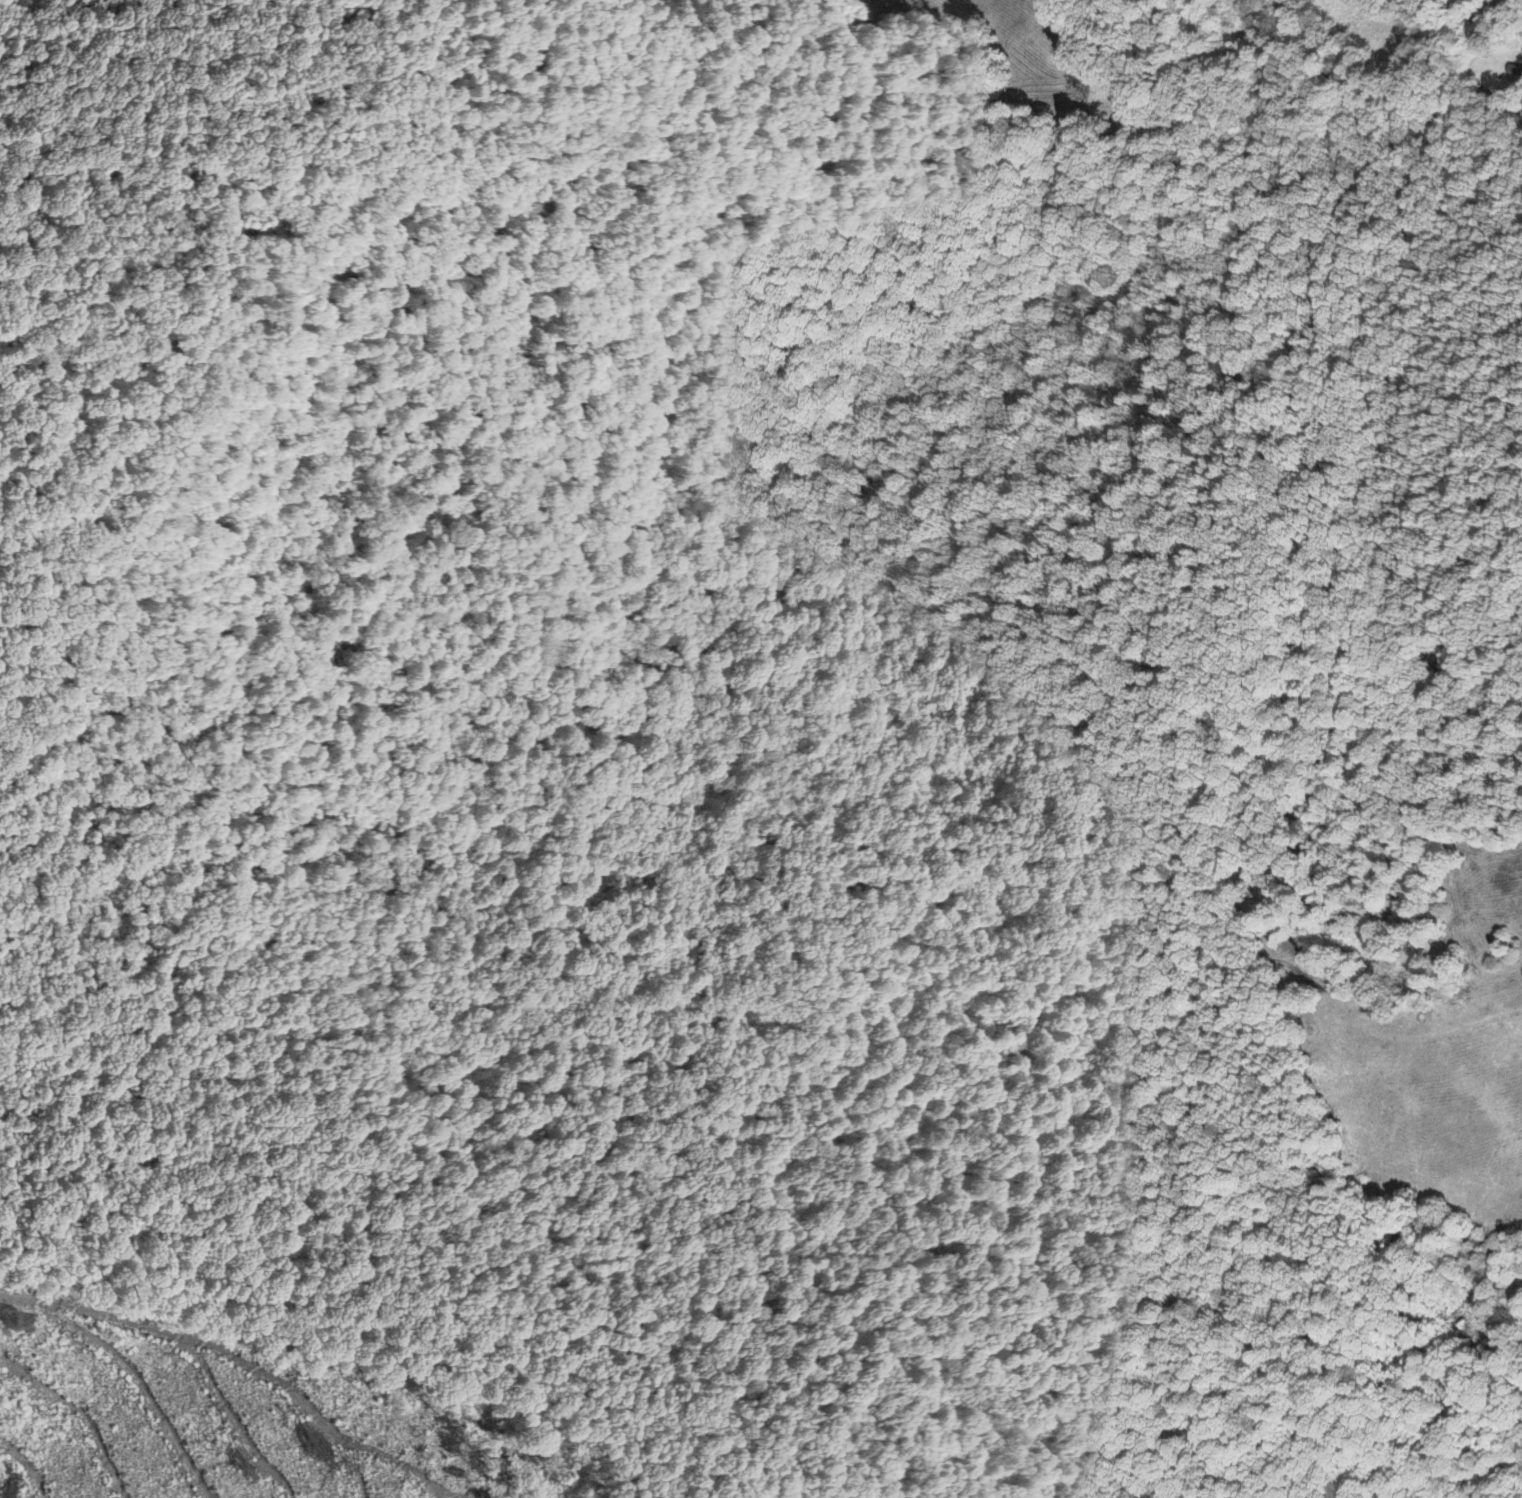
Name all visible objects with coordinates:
building: (1518, 68)

